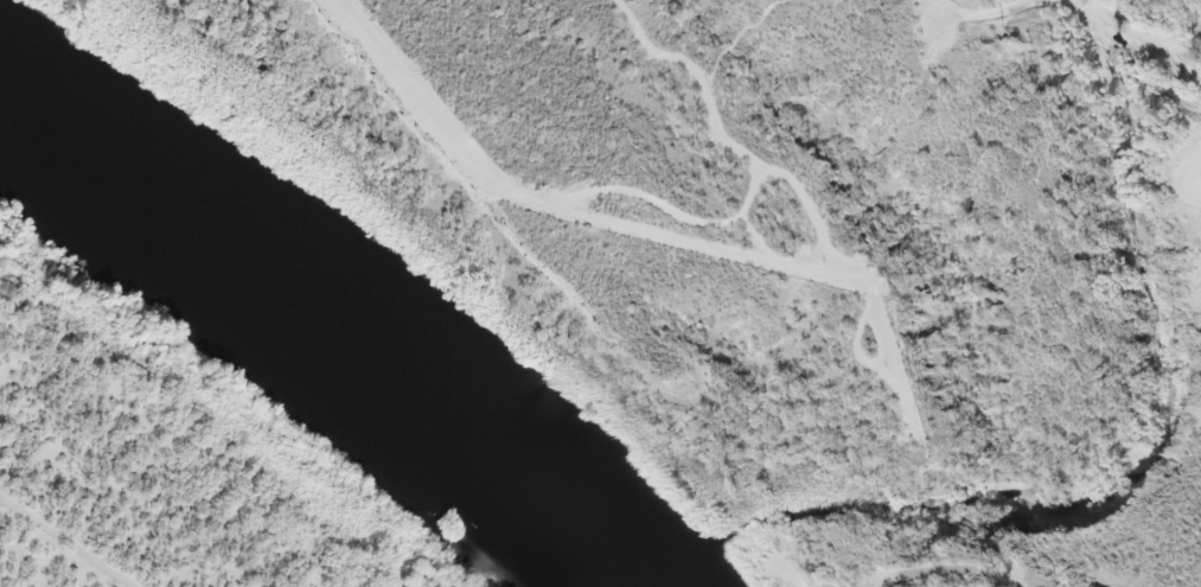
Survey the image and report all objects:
river: (319, 334)

